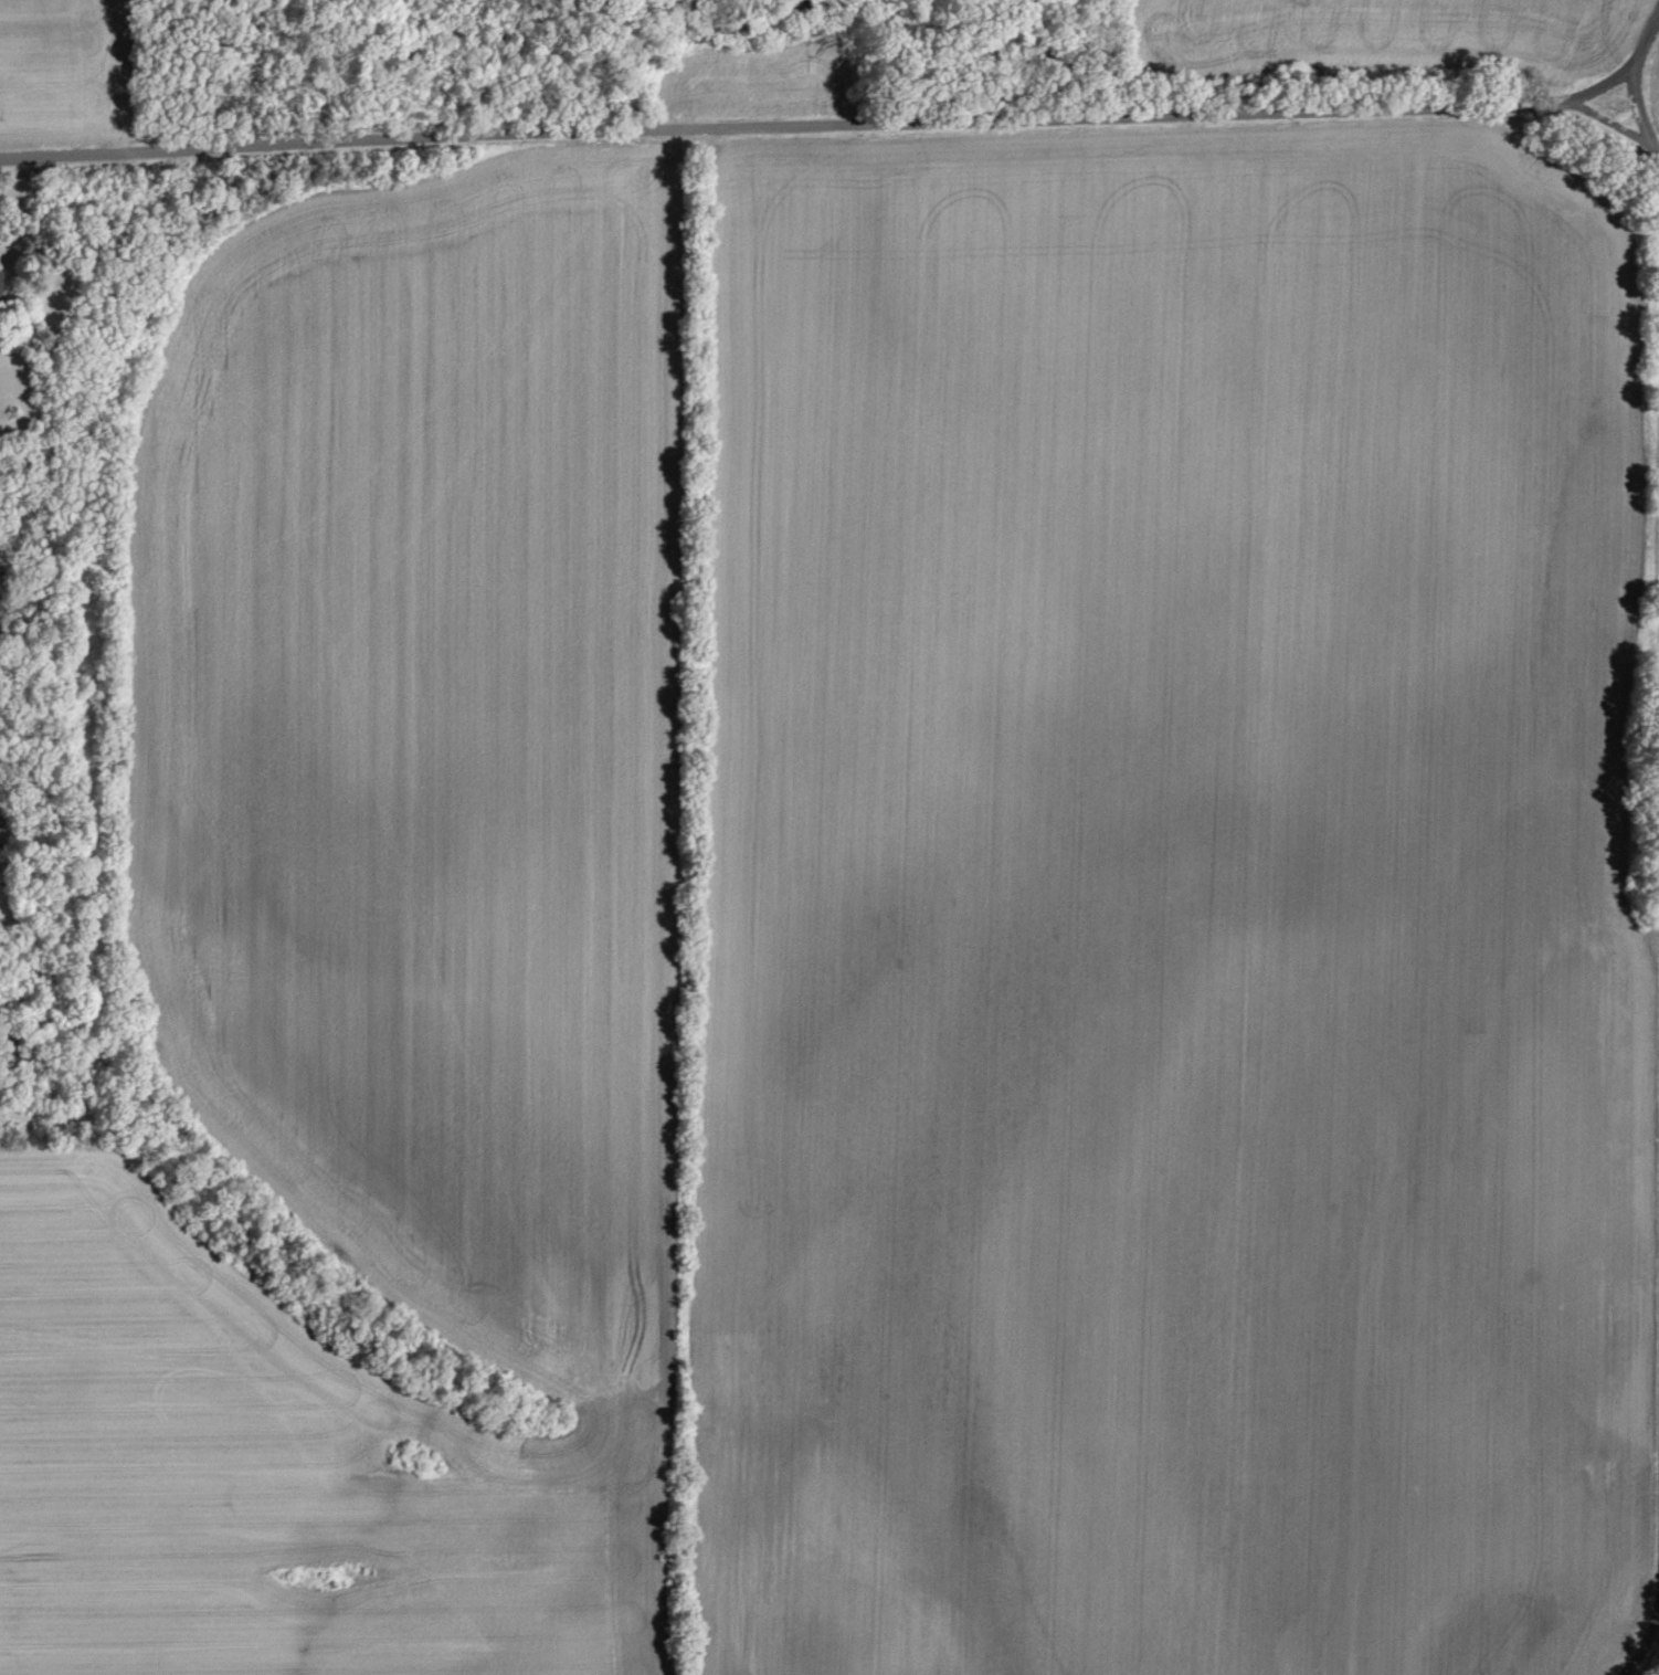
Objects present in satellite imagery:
road: (1637, 80)
road: (1599, 85)
road: (1613, 119)
road: (781, 120)
building: (1, 820)
road: (1642, 1640)

